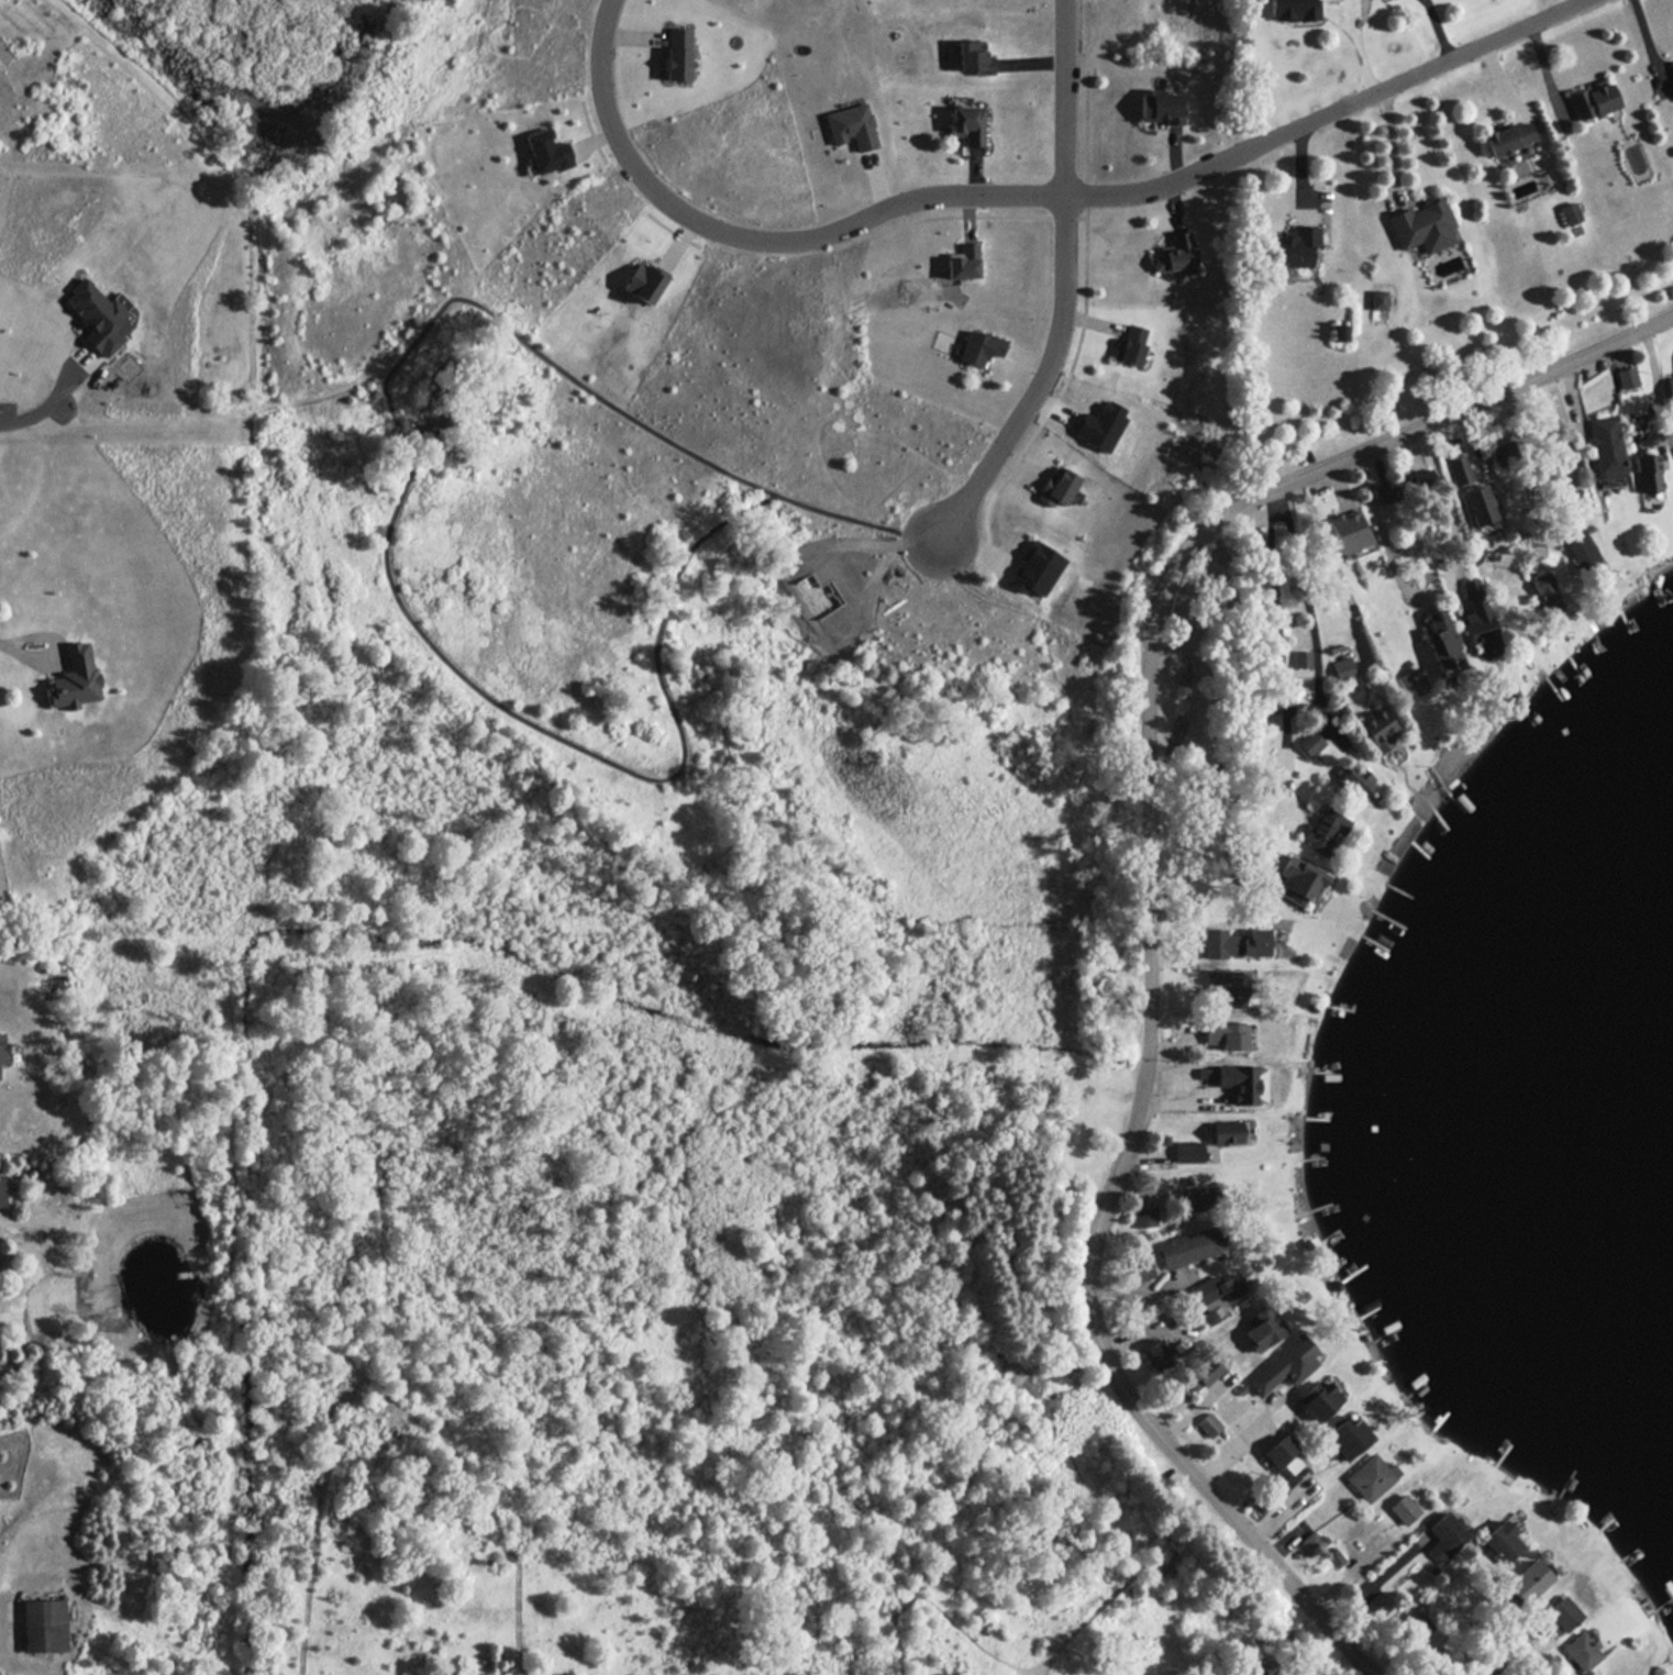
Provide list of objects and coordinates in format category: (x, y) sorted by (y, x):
building: (1294, 10)
road: (1649, 46)
building: (678, 54)
building: (973, 57)
building: (1592, 100)
building: (1161, 107)
road: (1330, 115)
building: (966, 124)
building: (852, 126)
building: (1508, 137)
road: (1392, 147)
building: (547, 152)
building: (1570, 213)
building: (1422, 226)
road: (845, 229)
building: (1296, 246)
building: (963, 262)
building: (644, 281)
building: (1378, 299)
building: (97, 317)
building: (1341, 332)
building: (1132, 344)
building: (979, 347)
building: (1626, 377)
road: (1653, 382)
road: (1042, 384)
building: (1669, 387)
road: (49, 418)
building: (1101, 425)
building: (1605, 446)
building: (1458, 469)
building: (1647, 475)
building: (1422, 478)
building: (1057, 487)
building: (1386, 492)
road: (1442, 492)
building: (1478, 504)
road: (1380, 528)
building: (1348, 531)
building: (1581, 551)
road: (1333, 567)
building: (1035, 569)
building: (1545, 592)
road: (1308, 610)
building: (1478, 618)
road: (1275, 623)
building: (1442, 644)
road: (23, 650)
building: (1301, 658)
building: (1342, 668)
road: (1251, 672)
building: (75, 678)
building: (1378, 729)
building: (1310, 743)
building: (1356, 780)
building: (1275, 784)
building: (1323, 829)
building: (1301, 877)
road: (1148, 887)
building: (1237, 943)
building: (1230, 988)
building: (1227, 1035)
building: (2, 1047)
building: (1205, 1073)
building: (1243, 1083)
building: (1228, 1132)
building: (1188, 1151)
building: (2, 1190)
building: (1196, 1199)
building: (1144, 1218)
building: (1190, 1246)
building: (1140, 1271)
building: (1217, 1295)
building: (1263, 1328)
building: (1159, 1355)
building: (1286, 1366)
building: (1204, 1375)
building: (1319, 1399)
building: (1209, 1424)
building: (1347, 1436)
road: (1223, 1450)
building: (1281, 1451)
building: (1288, 1474)
building: (1371, 1477)
building: (1404, 1509)
building: (1445, 1537)
building: (1503, 1541)
building: (1315, 1542)
building: (1334, 1556)
building: (1528, 1582)
road: (1371, 1583)
building: (1376, 1605)
building: (1558, 1616)
building: (45, 1626)
road: (1481, 1646)
building: (1582, 1652)
road: (1506, 1657)

